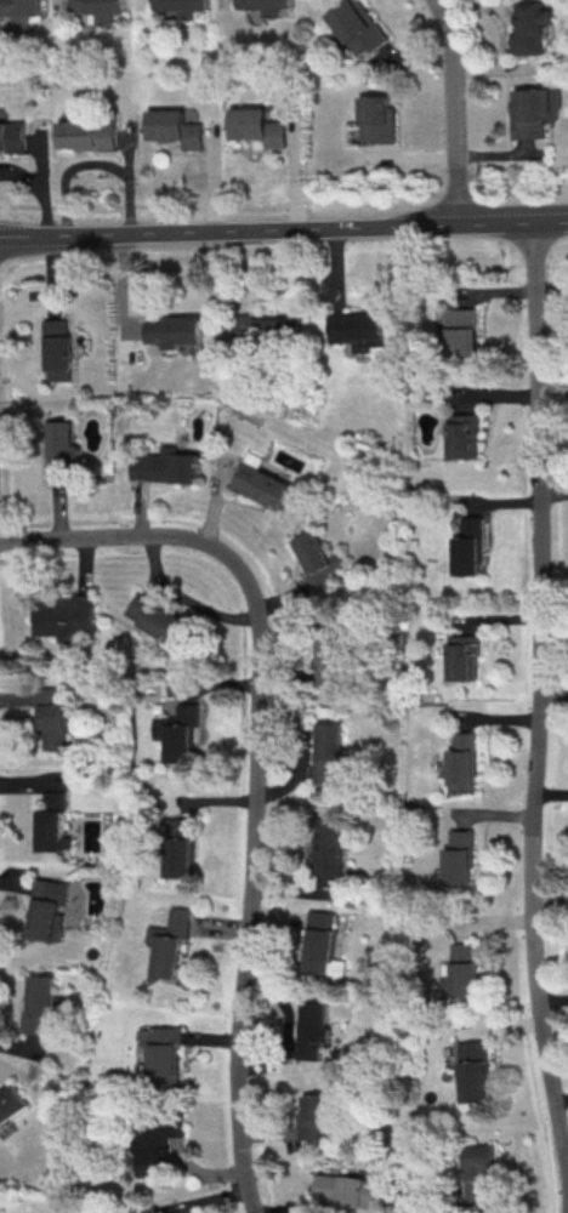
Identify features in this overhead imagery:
road: (229, 2)
road: (147, 5)
road: (66, 7)
building: (187, 7)
building: (271, 7)
building: (103, 11)
road: (499, 11)
building: (22, 13)
building: (363, 29)
building: (538, 30)
road: (422, 57)
road: (504, 68)
road: (460, 110)
building: (539, 115)
building: (387, 123)
building: (265, 127)
building: (181, 129)
building: (15, 137)
building: (93, 138)
road: (509, 154)
road: (416, 155)
road: (73, 170)
road: (24, 172)
road: (302, 175)
road: (220, 177)
road: (137, 181)
road: (47, 182)
road: (283, 203)
road: (283, 230)
building: (265, 326)
building: (358, 329)
building: (172, 330)
building: (461, 331)
building: (57, 351)
building: (464, 435)
building: (61, 448)
building: (166, 466)
building: (263, 483)
building: (468, 547)
building: (319, 560)
building: (64, 616)
building: (157, 617)
building: (462, 656)
building: (330, 660)
road: (541, 706)
building: (52, 719)
building: (178, 731)
building: (329, 751)
building: (462, 763)
road: (257, 764)
building: (52, 824)
building: (180, 847)
building: (328, 847)
building: (459, 858)
building: (47, 909)
building: (169, 941)
building: (323, 945)
building: (461, 972)
building: (39, 1002)
building: (313, 1027)
building: (163, 1054)
building: (473, 1071)
building: (11, 1101)
building: (317, 1117)
building: (477, 1173)
building: (348, 1190)

